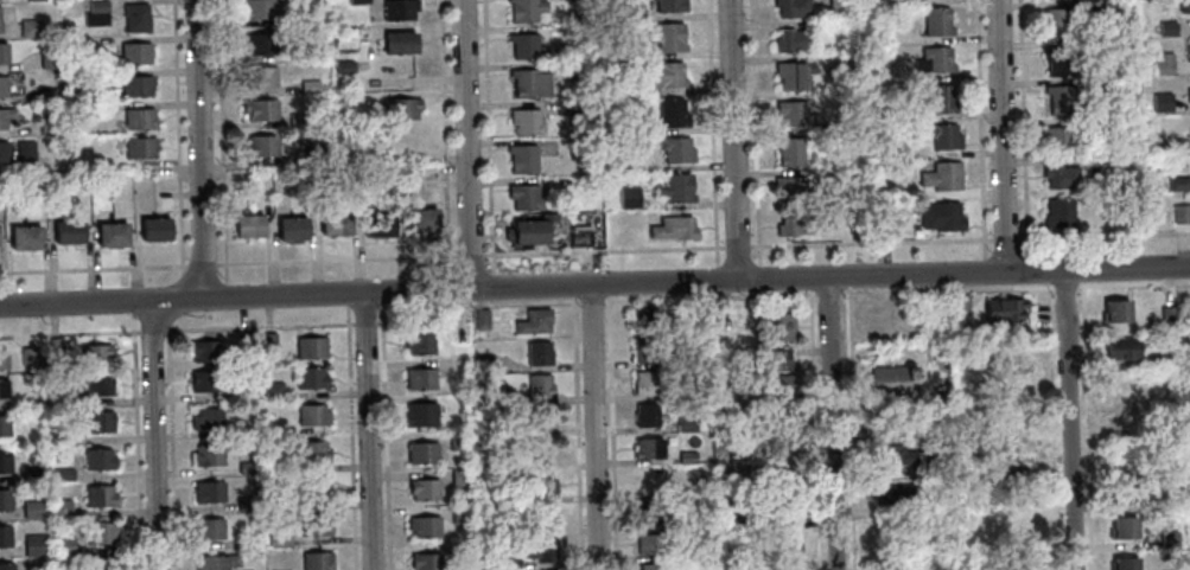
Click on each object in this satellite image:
building: (357, 1)
building: (670, 5)
building: (836, 5)
building: (1111, 6)
building: (1184, 6)
building: (793, 7)
building: (257, 8)
building: (399, 9)
building: (526, 9)
building: (617, 11)
building: (96, 13)
building: (572, 15)
building: (135, 18)
building: (304, 18)
building: (936, 21)
building: (1057, 23)
building: (31, 27)
building: (1166, 27)
building: (0, 28)
building: (344, 37)
building: (668, 38)
building: (793, 40)
building: (400, 43)
building: (259, 44)
building: (524, 45)
building: (1118, 45)
building: (623, 50)
building: (313, 52)
building: (2, 53)
building: (135, 53)
building: (49, 58)
building: (934, 60)
building: (1061, 60)
building: (1163, 63)
building: (845, 64)
building: (344, 66)
building: (574, 71)
building: (663, 75)
building: (790, 75)
building: (260, 77)
building: (529, 83)
building: (1099, 84)
building: (136, 85)
building: (2, 87)
building: (310, 87)
building: (622, 88)
building: (45, 95)
building: (1188, 95)
building: (1059, 98)
building: (940, 100)
building: (1162, 102)
building: (567, 107)
building: (402, 108)
building: (260, 109)
building: (87, 111)
building: (672, 113)
building: (795, 114)
building: (898, 114)
building: (6, 116)
building: (139, 119)
building: (297, 119)
building: (845, 119)
building: (526, 121)
building: (49, 124)
building: (629, 124)
building: (1189, 133)
road: (712, 134)
road: (178, 135)
building: (297, 135)
road: (446, 135)
road: (489, 135)
road: (1023, 135)
building: (943, 136)
road: (980, 136)
road: (1000, 136)
road: (756, 139)
building: (1056, 139)
road: (222, 140)
road: (733, 140)
road: (465, 145)
building: (1176, 145)
building: (260, 146)
building: (140, 147)
building: (24, 148)
road: (198, 149)
building: (314, 149)
building: (676, 149)
building: (789, 150)
building: (2, 152)
building: (522, 159)
building: (942, 175)
building: (1059, 177)
building: (1152, 181)
building: (1178, 182)
building: (676, 188)
building: (791, 188)
building: (524, 197)
building: (629, 197)
building: (1058, 213)
building: (1182, 213)
building: (941, 216)
building: (429, 219)
building: (415, 220)
building: (342, 223)
building: (327, 224)
building: (255, 225)
building: (371, 225)
building: (384, 225)
building: (790, 225)
building: (855, 225)
building: (241, 226)
building: (673, 228)
building: (161, 229)
building: (284, 229)
building: (299, 229)
building: (147, 230)
building: (62, 232)
building: (76, 232)
building: (528, 232)
building: (104, 235)
building: (119, 235)
building: (580, 237)
building: (18, 238)
building: (32, 238)
road: (836, 245)
road: (471, 252)
road: (337, 257)
road: (202, 262)
road: (93, 265)
road: (717, 275)
road: (492, 280)
road: (450, 281)
road: (594, 284)
road: (184, 286)
road: (1016, 287)
road: (609, 288)
road: (225, 289)
road: (828, 289)
road: (573, 290)
road: (709, 294)
street lamp: (578, 296)
road: (591, 297)
road: (382, 299)
road: (348, 300)
road: (517, 301)
building: (959, 303)
road: (133, 306)
building: (723, 307)
building: (1004, 309)
building: (1115, 312)
road: (458, 313)
building: (647, 315)
building: (1169, 316)
road: (365, 320)
road: (418, 320)
building: (483, 320)
parking lot: (503, 321)
building: (536, 321)
road: (259, 324)
building: (776, 326)
road: (153, 327)
road: (71, 332)
building: (420, 341)
building: (57, 344)
building: (242, 344)
building: (271, 344)
building: (312, 346)
building: (1121, 347)
building: (206, 350)
building: (645, 350)
building: (541, 352)
building: (98, 353)
building: (30, 354)
building: (5, 358)
building: (1013, 358)
building: (1171, 358)
building: (774, 359)
building: (485, 365)
building: (313, 377)
building: (422, 377)
building: (889, 379)
building: (206, 380)
building: (645, 383)
building: (96, 384)
building: (542, 384)
building: (776, 385)
building: (2, 389)
building: (274, 389)
building: (1122, 391)
building: (687, 395)
building: (508, 398)
building: (68, 401)
building: (421, 414)
building: (648, 414)
building: (316, 415)
building: (208, 417)
building: (542, 418)
road: (1068, 420)
building: (98, 422)
road: (831, 423)
building: (4, 425)
building: (687, 427)
building: (247, 428)
road: (593, 428)
road: (1050, 428)
road: (851, 429)
road: (815, 430)
building: (1018, 430)
road: (367, 431)
road: (578, 431)
road: (612, 431)
road: (154, 434)
road: (351, 436)
road: (386, 436)
building: (59, 437)
road: (138, 440)
building: (460, 440)
road: (172, 448)
building: (649, 448)
building: (316, 450)
building: (892, 450)
building: (424, 451)
building: (541, 451)
building: (208, 455)
building: (97, 459)
building: (688, 459)
building: (4, 463)
building: (248, 466)
building: (1014, 473)
building: (32, 474)
building: (62, 475)
building: (463, 475)
building: (649, 479)
building: (545, 485)
building: (317, 488)
building: (425, 488)
building: (211, 491)
building: (891, 494)
building: (98, 497)
building: (1127, 498)
building: (5, 499)
building: (249, 502)
building: (61, 508)
building: (32, 510)
building: (779, 510)
building: (465, 512)
building: (648, 512)
building: (542, 515)
building: (426, 525)
building: (317, 526)
building: (211, 527)
building: (510, 527)
building: (1122, 527)
building: (101, 533)
building: (5, 536)
building: (280, 538)
building: (1169, 538)
building: (247, 539)
building: (650, 543)
building: (779, 543)
building: (33, 545)
building: (465, 545)
building: (63, 546)
building: (542, 549)
building: (510, 559)
building: (217, 561)
building: (319, 561)
building: (425, 561)
building: (102, 564)
building: (1124, 564)
building: (653, 565)
building: (6, 566)

